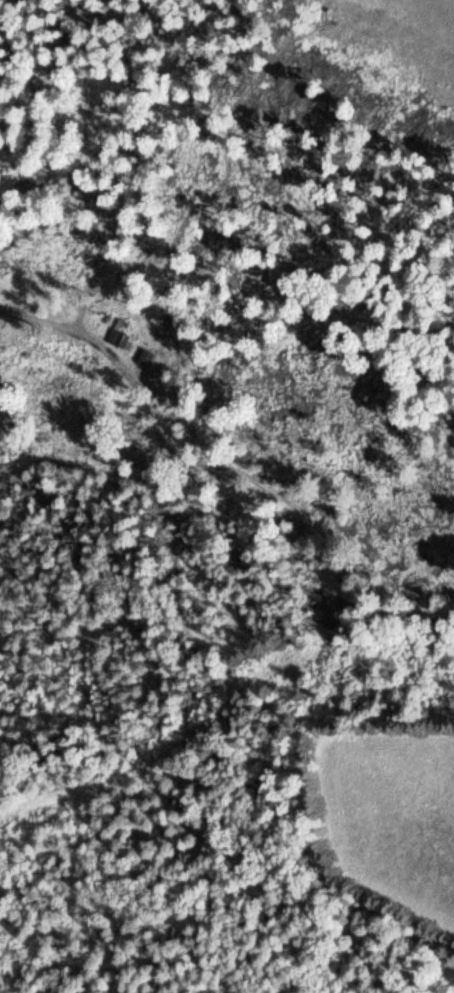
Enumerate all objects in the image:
building: (124, 333)

